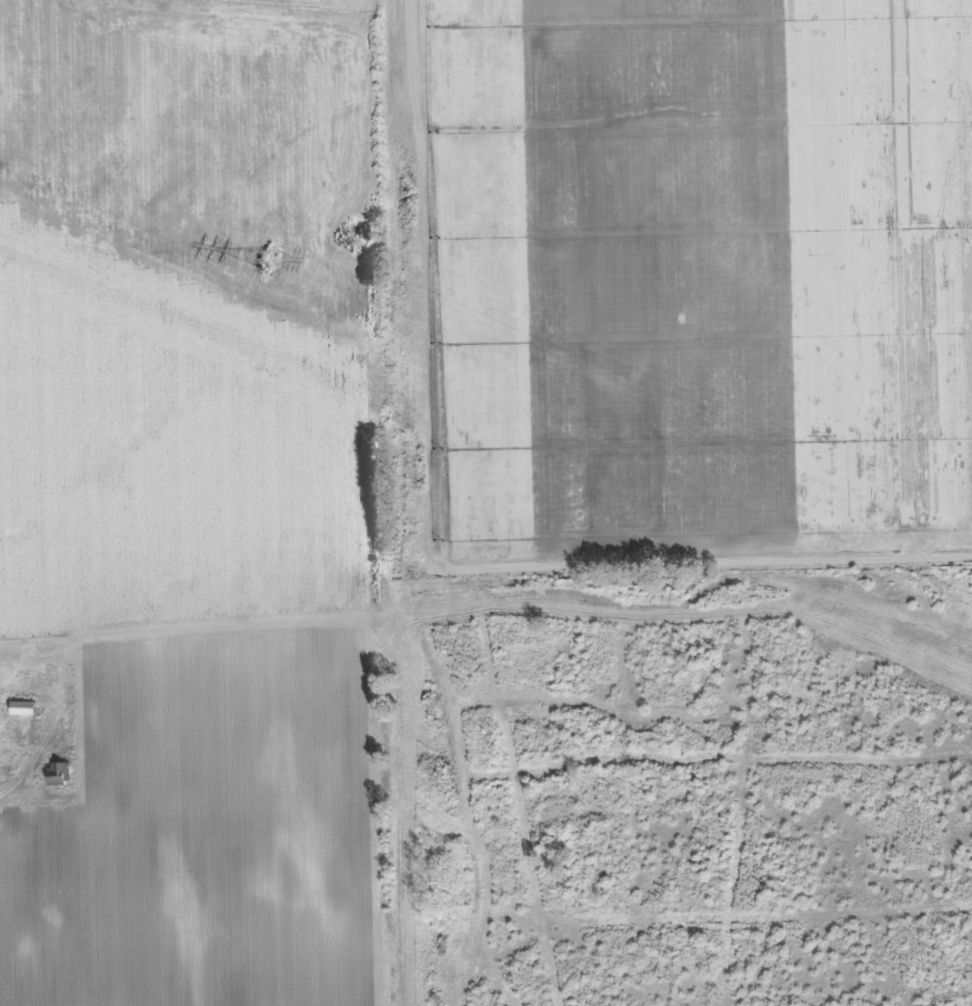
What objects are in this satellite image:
power tower: (266, 257)
building: (23, 708)
road: (23, 758)
building: (60, 773)

